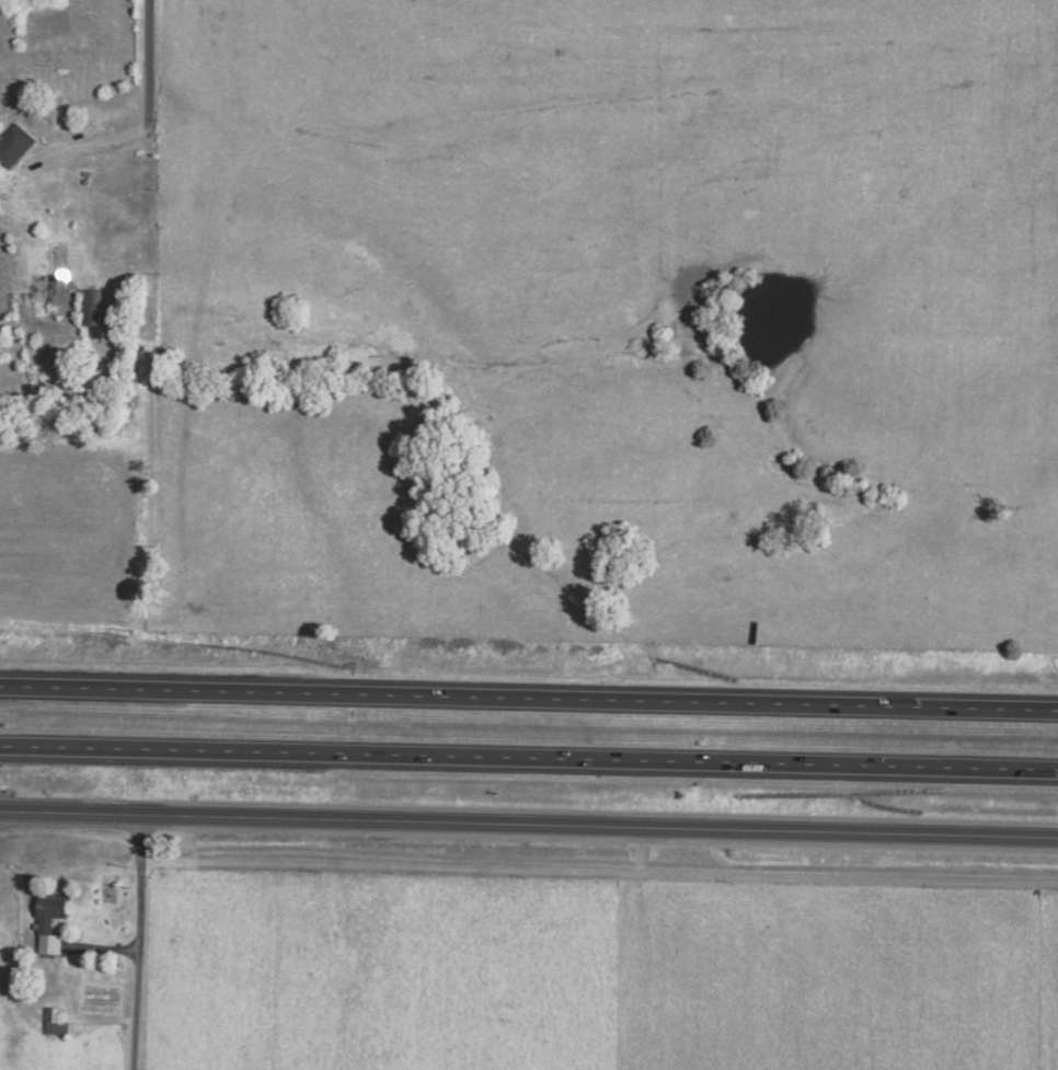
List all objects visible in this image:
road: (148, 124)
building: (14, 145)
building: (92, 307)
road: (528, 697)
road: (529, 758)
road: (529, 824)
building: (53, 911)
road: (136, 941)
building: (55, 1021)

